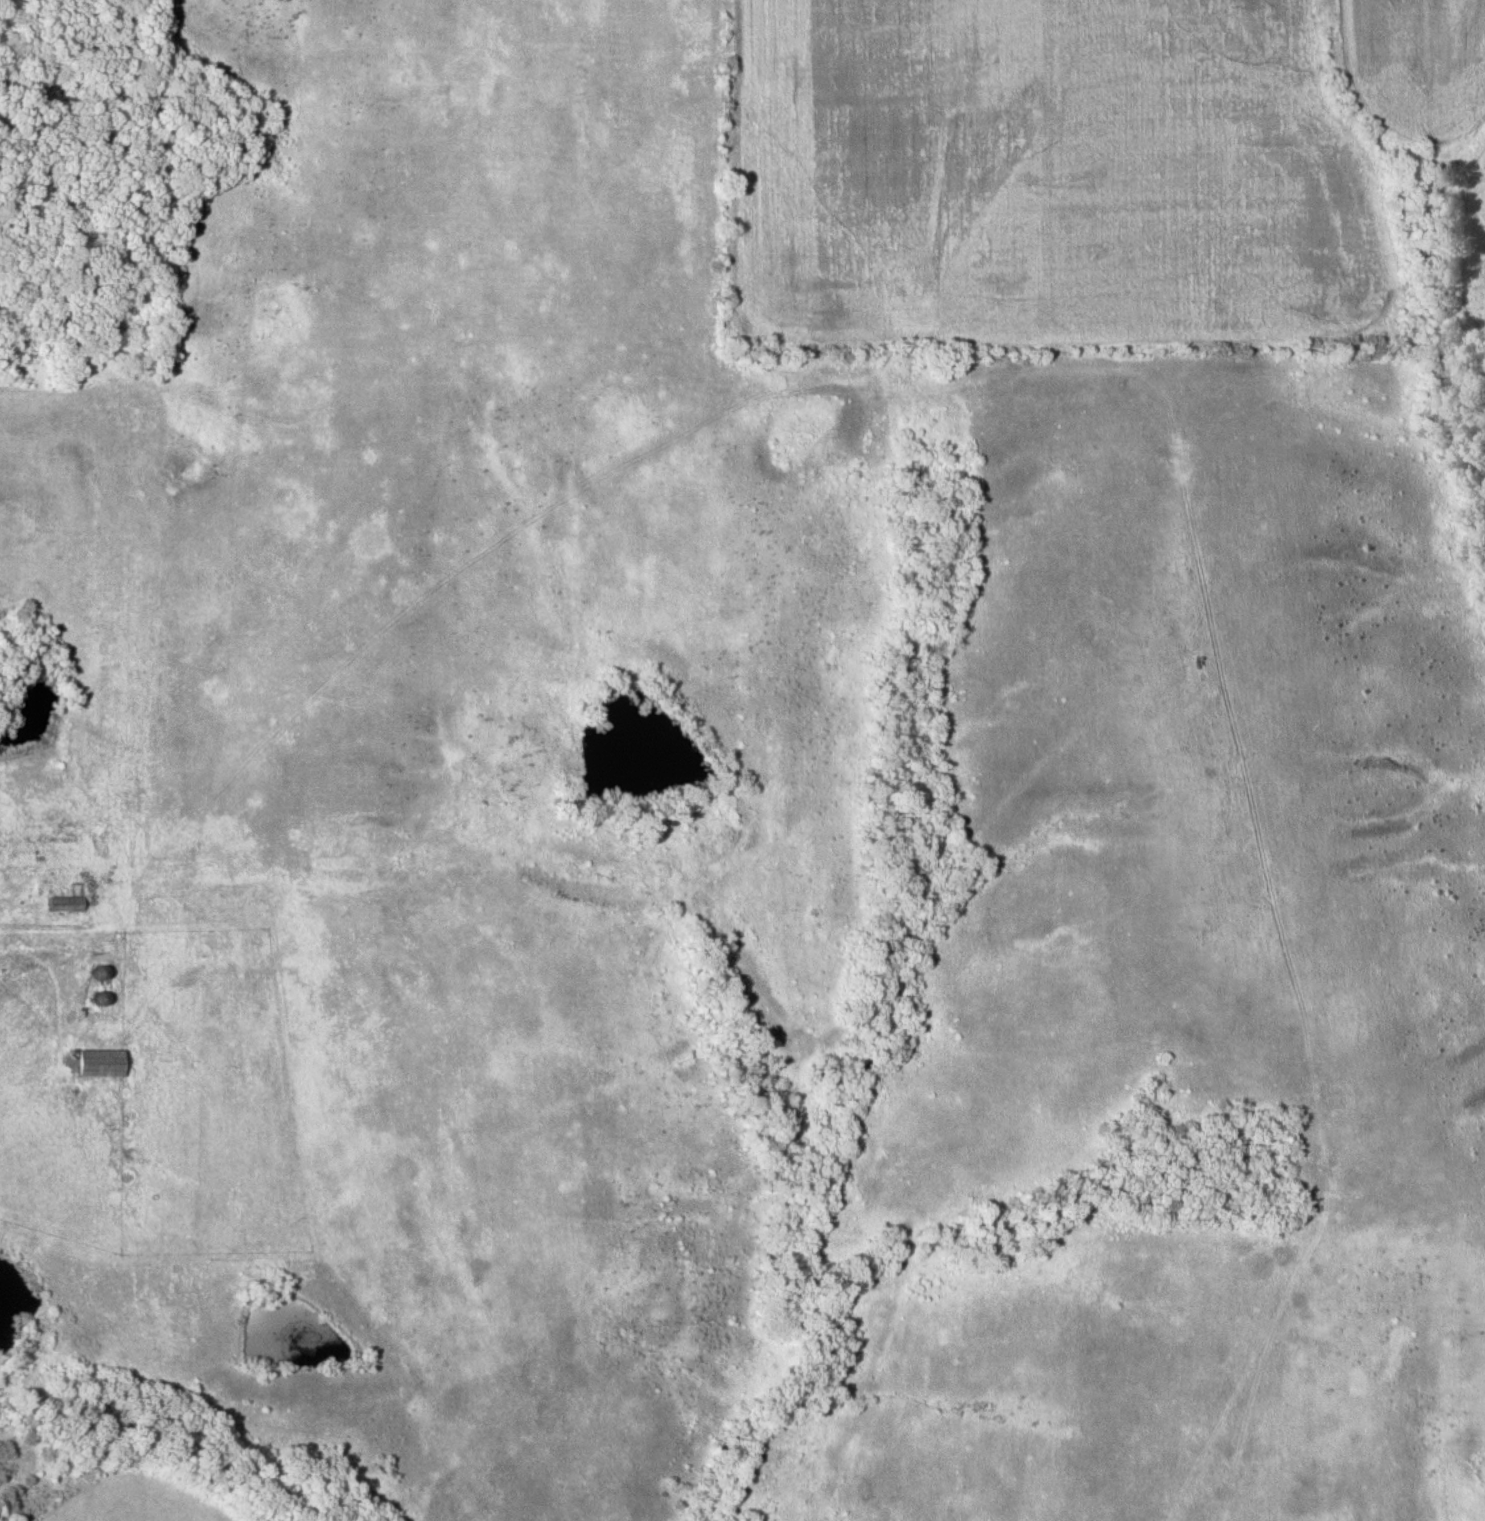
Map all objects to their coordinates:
building: (7, 856)
building: (61, 906)
building: (96, 974)

